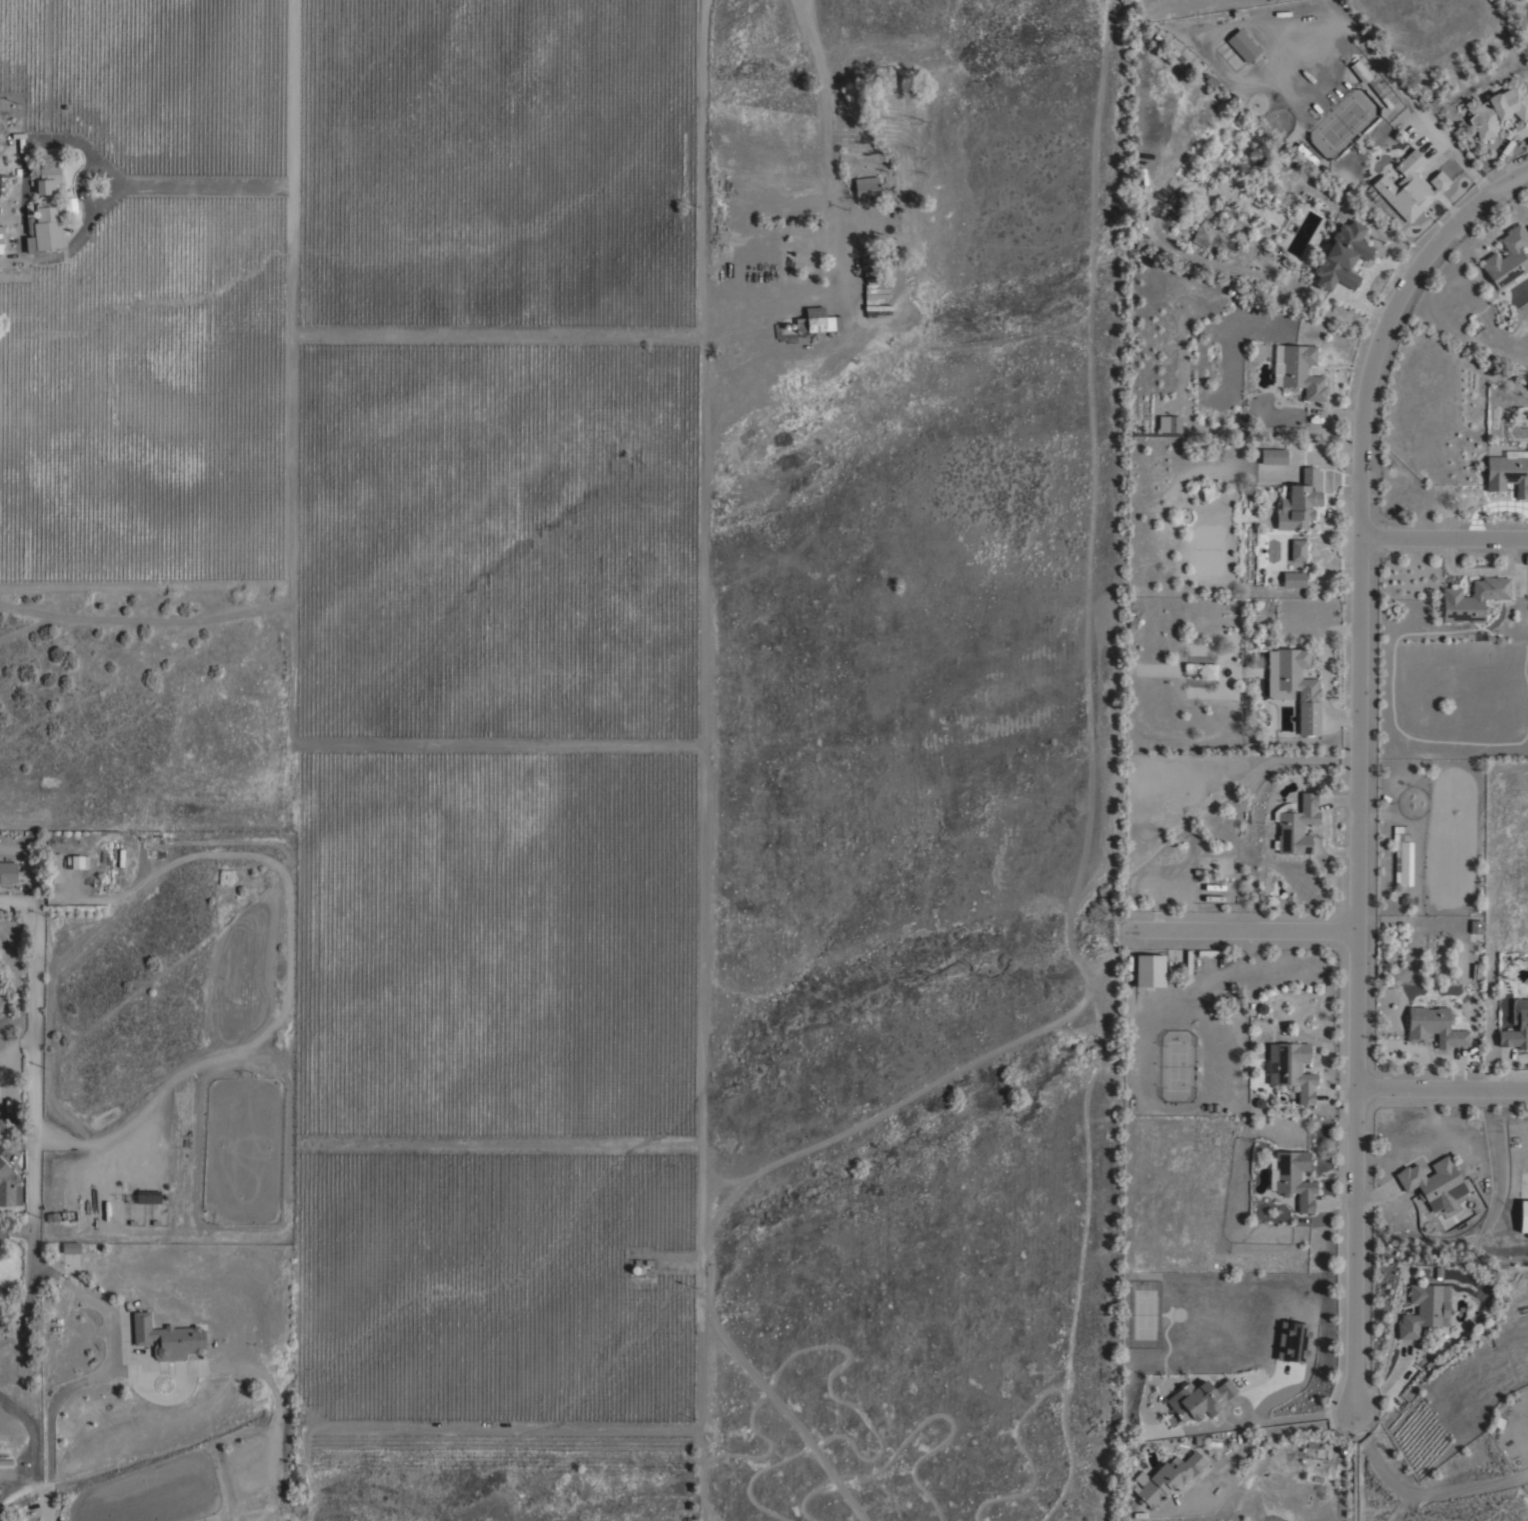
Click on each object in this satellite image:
building: (1241, 45)
building: (1359, 72)
road: (823, 99)
building: (1496, 108)
building: (46, 175)
road: (78, 184)
road: (201, 186)
building: (1408, 187)
building: (865, 189)
building: (69, 209)
road: (829, 216)
building: (44, 228)
building: (1201, 235)
building: (0, 247)
building: (1341, 256)
building: (1506, 259)
building: (821, 324)
road: (495, 333)
road: (288, 370)
building: (1297, 371)
building: (1168, 424)
building: (1272, 456)
building: (1507, 473)
building: (1298, 502)
road: (1443, 540)
building: (1296, 550)
building: (1292, 579)
building: (1467, 601)
road: (703, 607)
building: (1293, 686)
road: (494, 743)
road: (1357, 758)
building: (1294, 825)
building: (1403, 859)
building: (77, 862)
building: (7, 873)
road: (1243, 929)
building: (1516, 1026)
building: (1433, 1027)
building: (1290, 1069)
road: (33, 1078)
road: (1442, 1092)
road: (497, 1142)
building: (1291, 1178)
building: (1429, 1180)
building: (6, 1183)
building: (147, 1197)
building: (1524, 1216)
building: (70, 1247)
road: (69, 1289)
road: (27, 1300)
building: (1420, 1311)
road: (10, 1338)
building: (166, 1338)
building: (1292, 1342)
building: (1198, 1399)
road: (1298, 1417)
road: (1274, 1429)
road: (45, 1436)
building: (246, 1454)
building: (1165, 1478)
road: (43, 1504)

